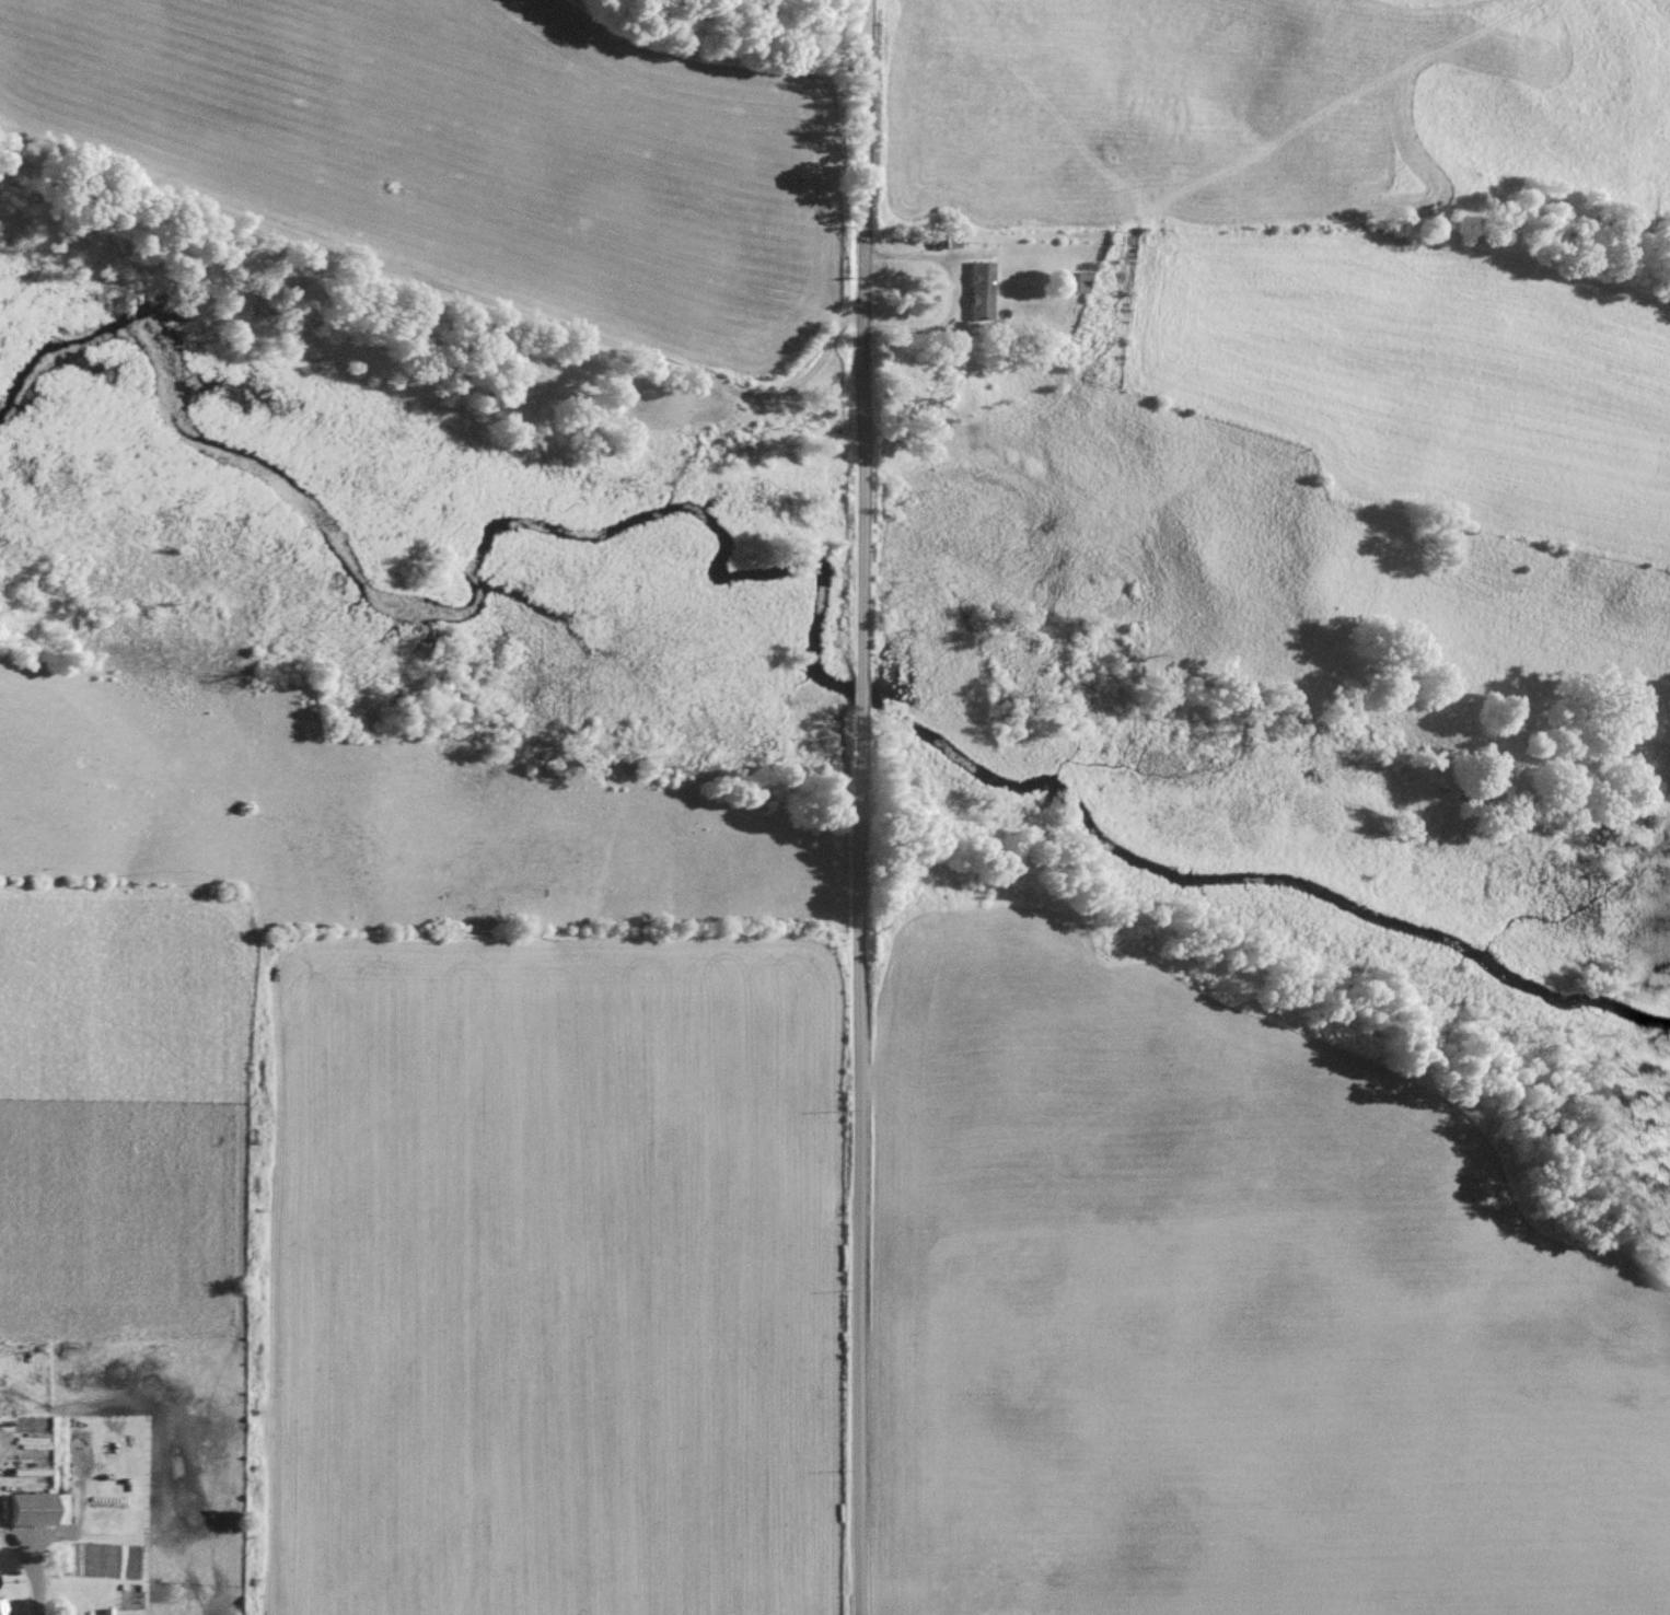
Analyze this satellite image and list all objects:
road: (959, 256)
building: (1075, 281)
road: (955, 290)
building: (976, 290)
road: (948, 294)
river: (462, 617)
road: (865, 806)
building: (39, 1508)
road: (34, 1592)
building: (2, 1606)

